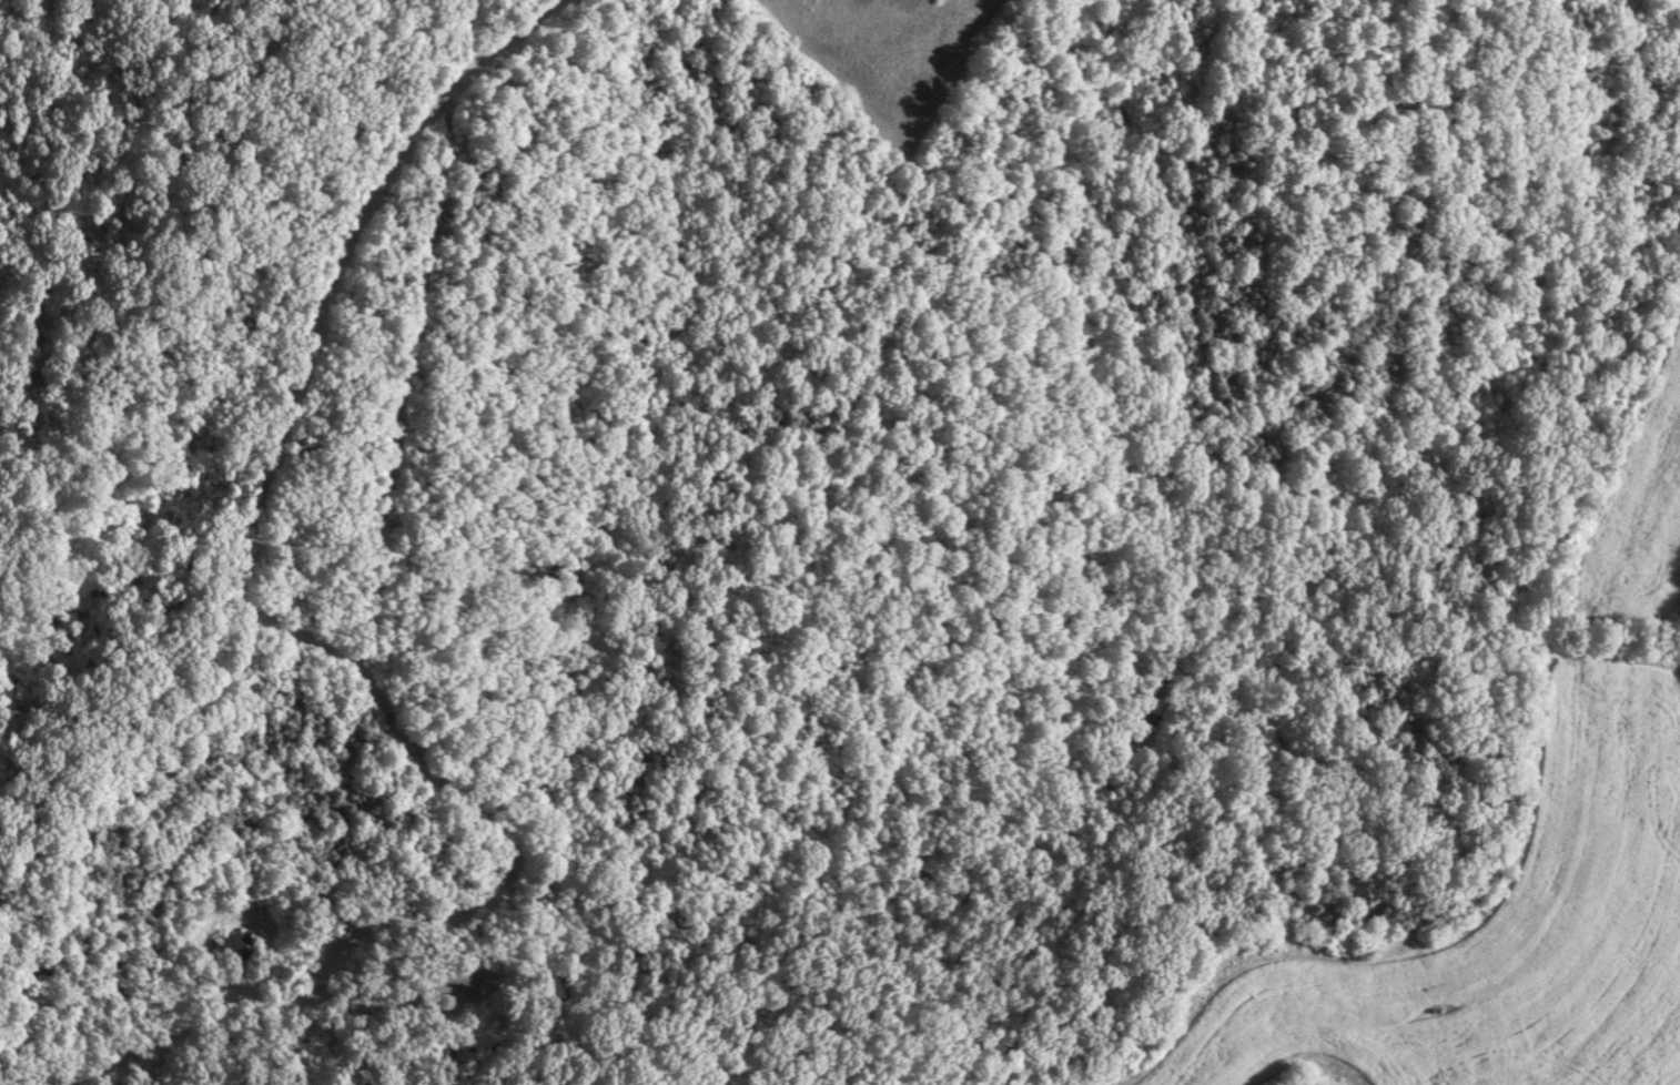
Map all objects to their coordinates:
road: (1549, 760)
building: (235, 951)

